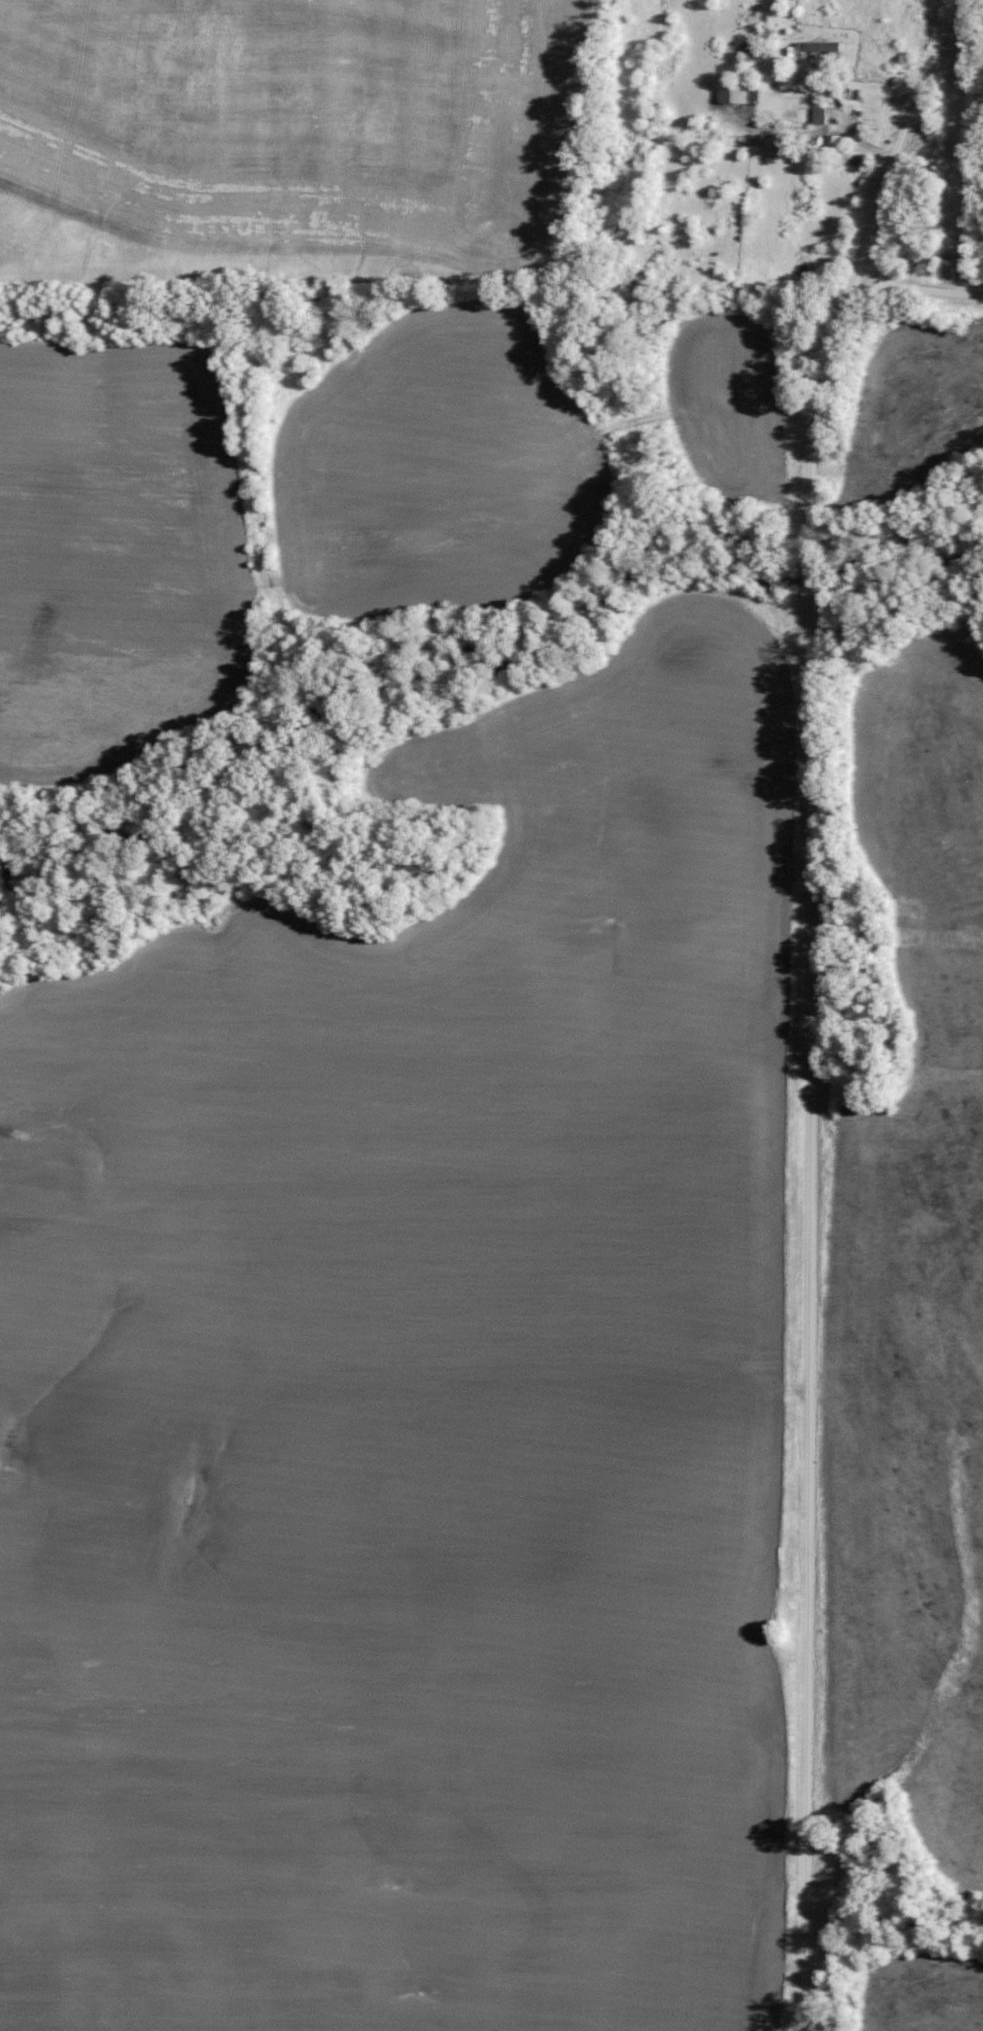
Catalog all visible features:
building: (821, 46)
building: (738, 92)
building: (818, 115)
road: (920, 286)
road: (811, 1000)

